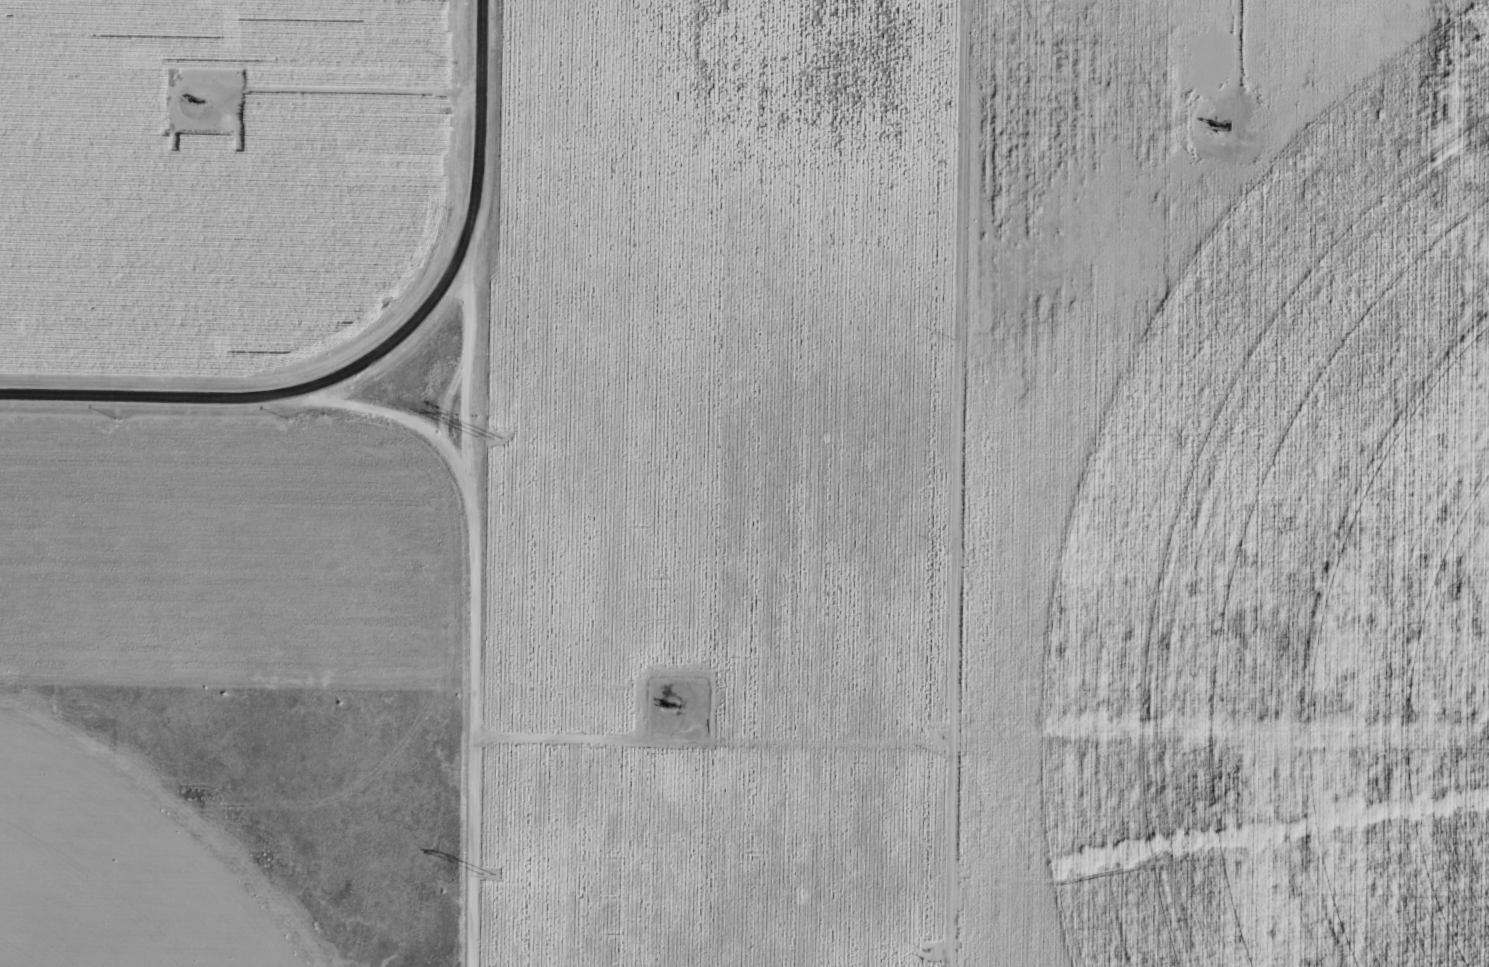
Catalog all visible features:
petroleum well: (207, 99)
road: (479, 117)
petroleum well: (1226, 118)
road: (269, 395)
power tower: (492, 437)
road: (468, 600)
petroleum well: (672, 703)
power tower: (489, 874)

